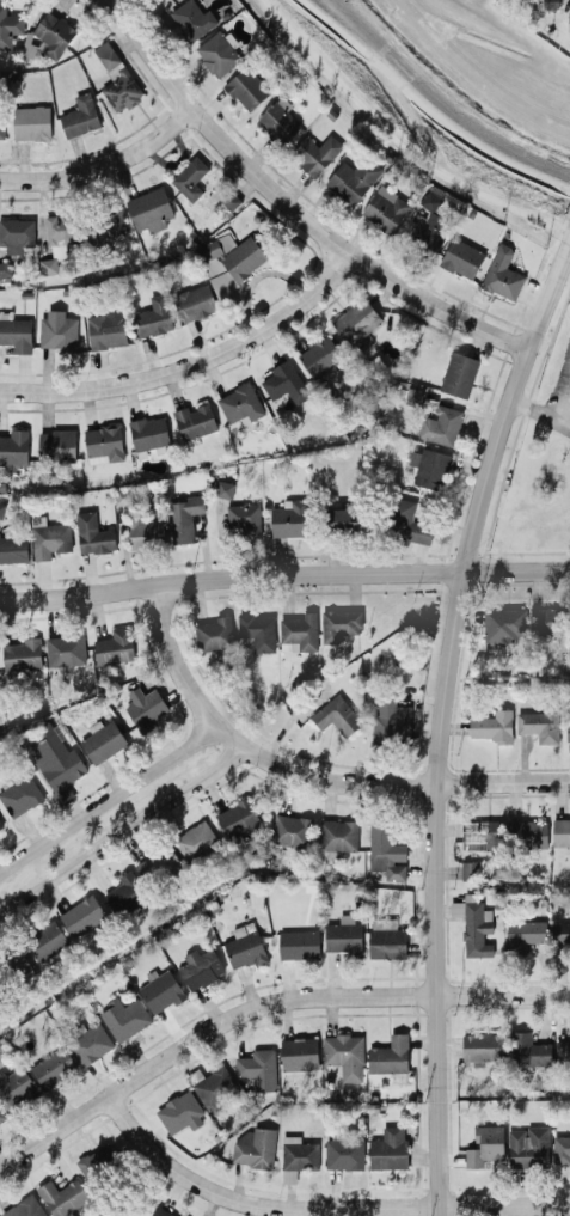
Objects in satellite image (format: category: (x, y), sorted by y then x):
building: (192, 19)
building: (569, 22)
building: (8, 26)
building: (48, 37)
building: (219, 51)
building: (117, 79)
building: (246, 87)
road: (425, 109)
building: (80, 116)
building: (280, 120)
building: (31, 122)
building: (1, 124)
road: (398, 142)
building: (315, 153)
road: (104, 166)
building: (190, 177)
building: (353, 178)
road: (290, 206)
building: (385, 208)
building: (149, 209)
building: (429, 220)
building: (108, 222)
building: (60, 227)
building: (17, 233)
building: (461, 257)
building: (229, 259)
building: (48, 265)
building: (4, 268)
building: (502, 273)
building: (195, 301)
building: (153, 317)
building: (356, 320)
building: (108, 328)
building: (57, 329)
building: (16, 332)
building: (319, 355)
road: (194, 367)
building: (459, 373)
building: (284, 383)
road: (564, 396)
building: (240, 403)
road: (539, 415)
building: (195, 421)
building: (441, 424)
building: (148, 432)
building: (103, 442)
building: (56, 445)
building: (13, 448)
building: (431, 468)
building: (225, 489)
building: (1, 508)
building: (184, 517)
building: (245, 518)
building: (289, 518)
building: (343, 521)
building: (407, 523)
building: (146, 531)
building: (93, 533)
building: (49, 537)
building: (13, 548)
road: (283, 575)
building: (546, 619)
building: (341, 623)
building: (504, 624)
building: (258, 630)
building: (300, 630)
building: (214, 634)
building: (112, 647)
building: (65, 649)
building: (22, 654)
building: (145, 707)
building: (336, 715)
road: (439, 719)
building: (391, 722)
building: (539, 723)
building: (492, 725)
building: (568, 729)
building: (102, 739)
building: (55, 760)
road: (308, 775)
building: (19, 795)
road: (108, 796)
building: (237, 817)
building: (0, 826)
road: (121, 827)
building: (289, 830)
building: (479, 831)
building: (526, 831)
building: (560, 831)
building: (337, 833)
building: (195, 841)
building: (385, 851)
building: (159, 864)
building: (468, 868)
building: (124, 892)
building: (455, 908)
building: (82, 915)
building: (476, 925)
building: (560, 931)
building: (343, 934)
building: (523, 934)
building: (386, 937)
building: (44, 940)
building: (298, 943)
building: (244, 947)
building: (12, 965)
building: (200, 967)
building: (160, 989)
road: (262, 1002)
building: (123, 1016)
building: (88, 1041)
building: (480, 1045)
building: (528, 1050)
building: (564, 1050)
building: (299, 1052)
building: (344, 1053)
building: (388, 1053)
building: (53, 1065)
building: (257, 1068)
building: (14, 1086)
building: (214, 1086)
building: (179, 1112)
building: (1, 1116)
building: (489, 1141)
building: (255, 1145)
building: (527, 1145)
building: (387, 1148)
building: (560, 1148)
building: (343, 1150)
building: (299, 1153)
building: (96, 1160)
building: (62, 1194)
building: (24, 1208)
road: (315, 1208)
building: (161, 1212)

